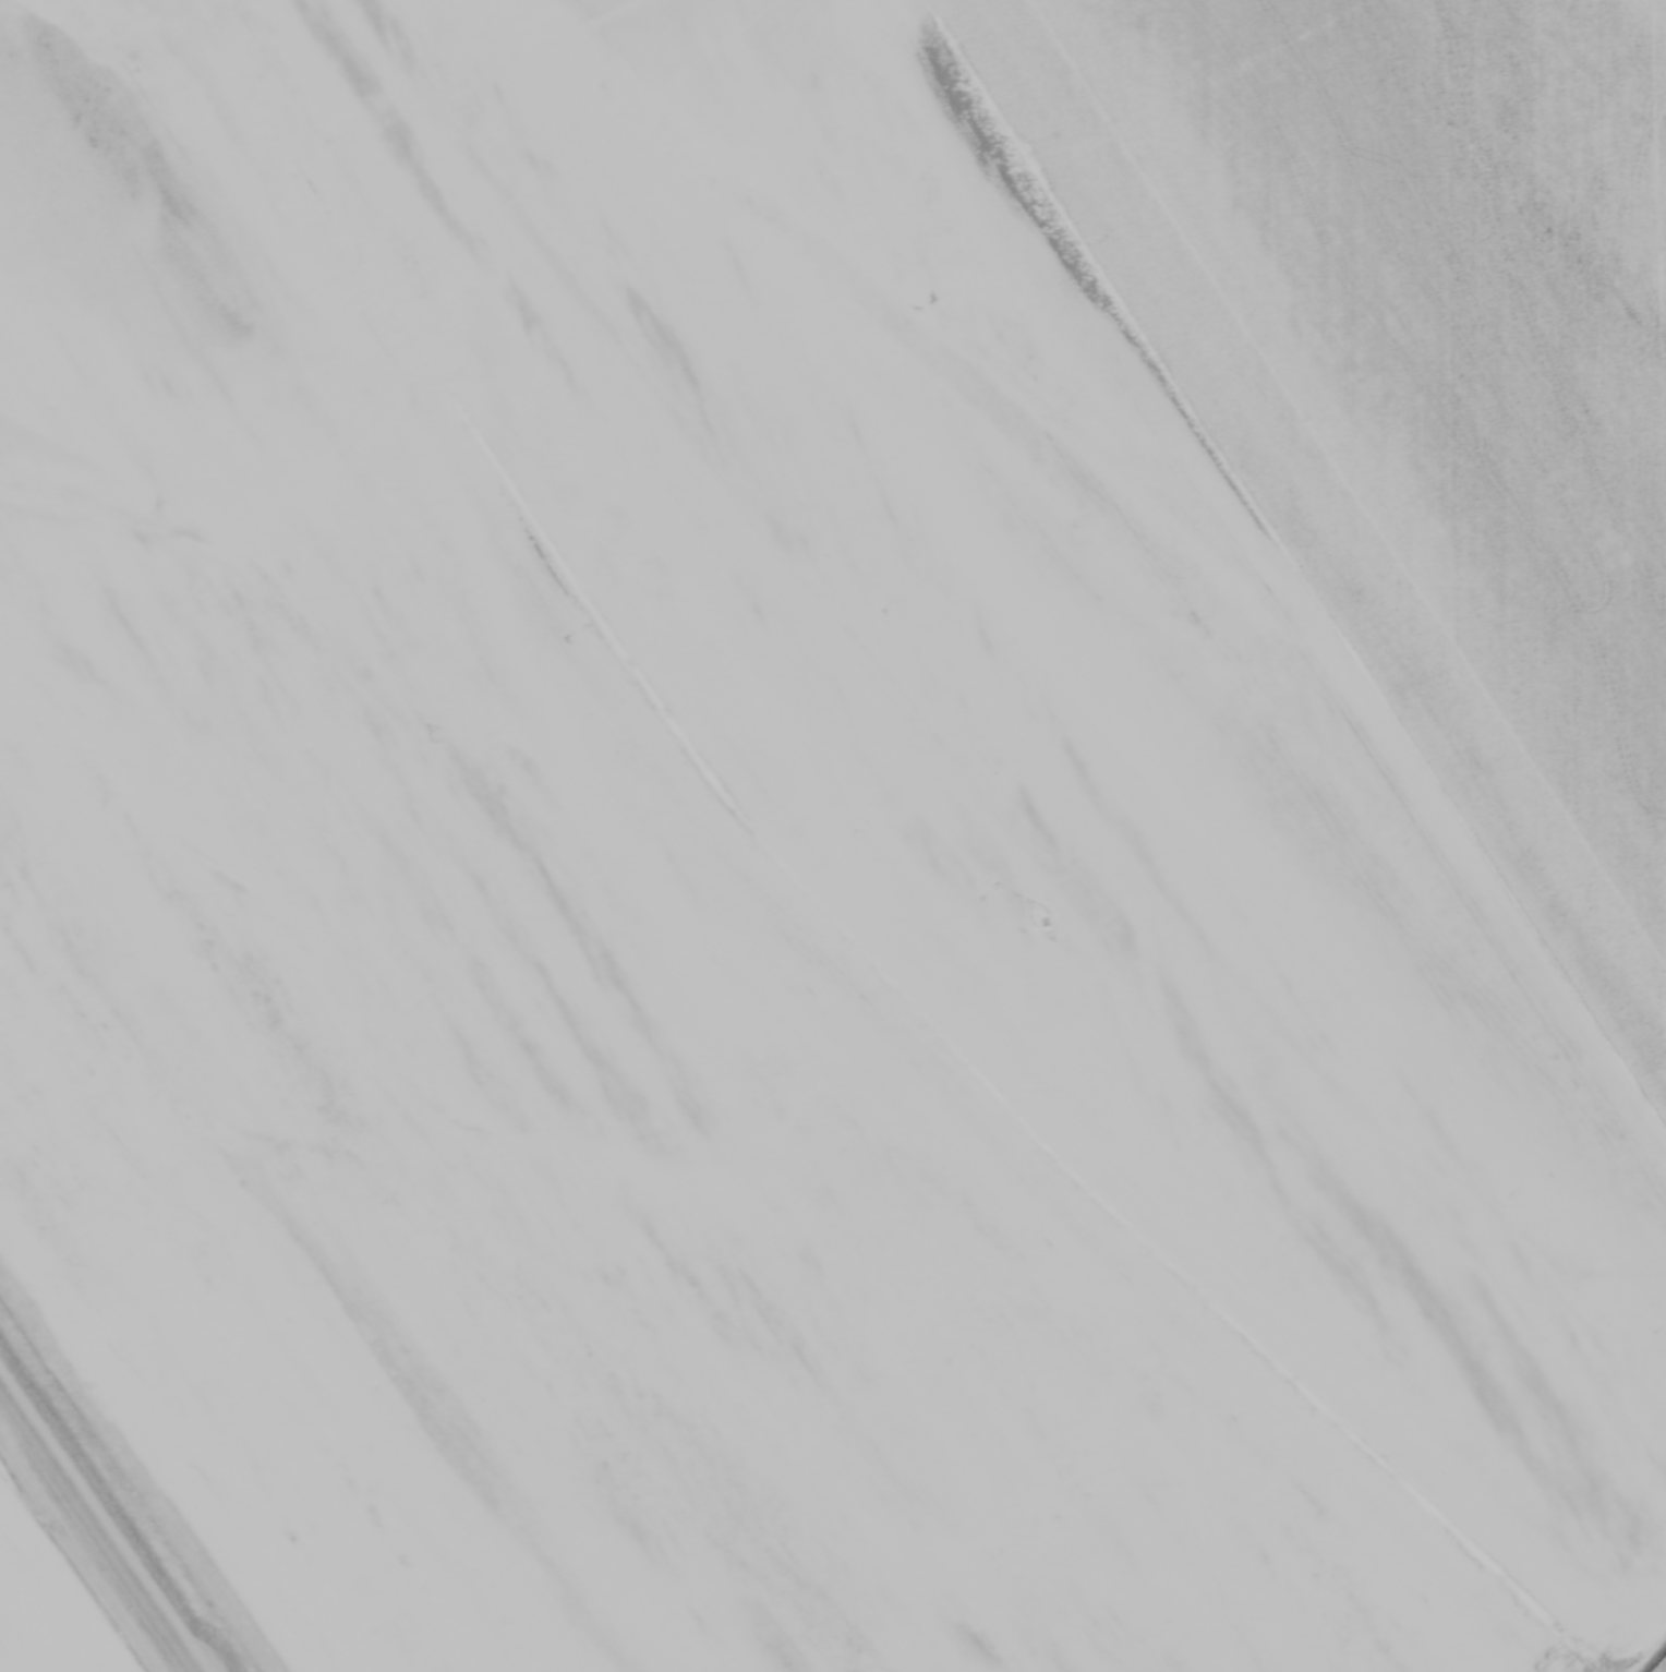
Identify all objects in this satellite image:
road: (107, 1517)
crop: (48, 1604)

